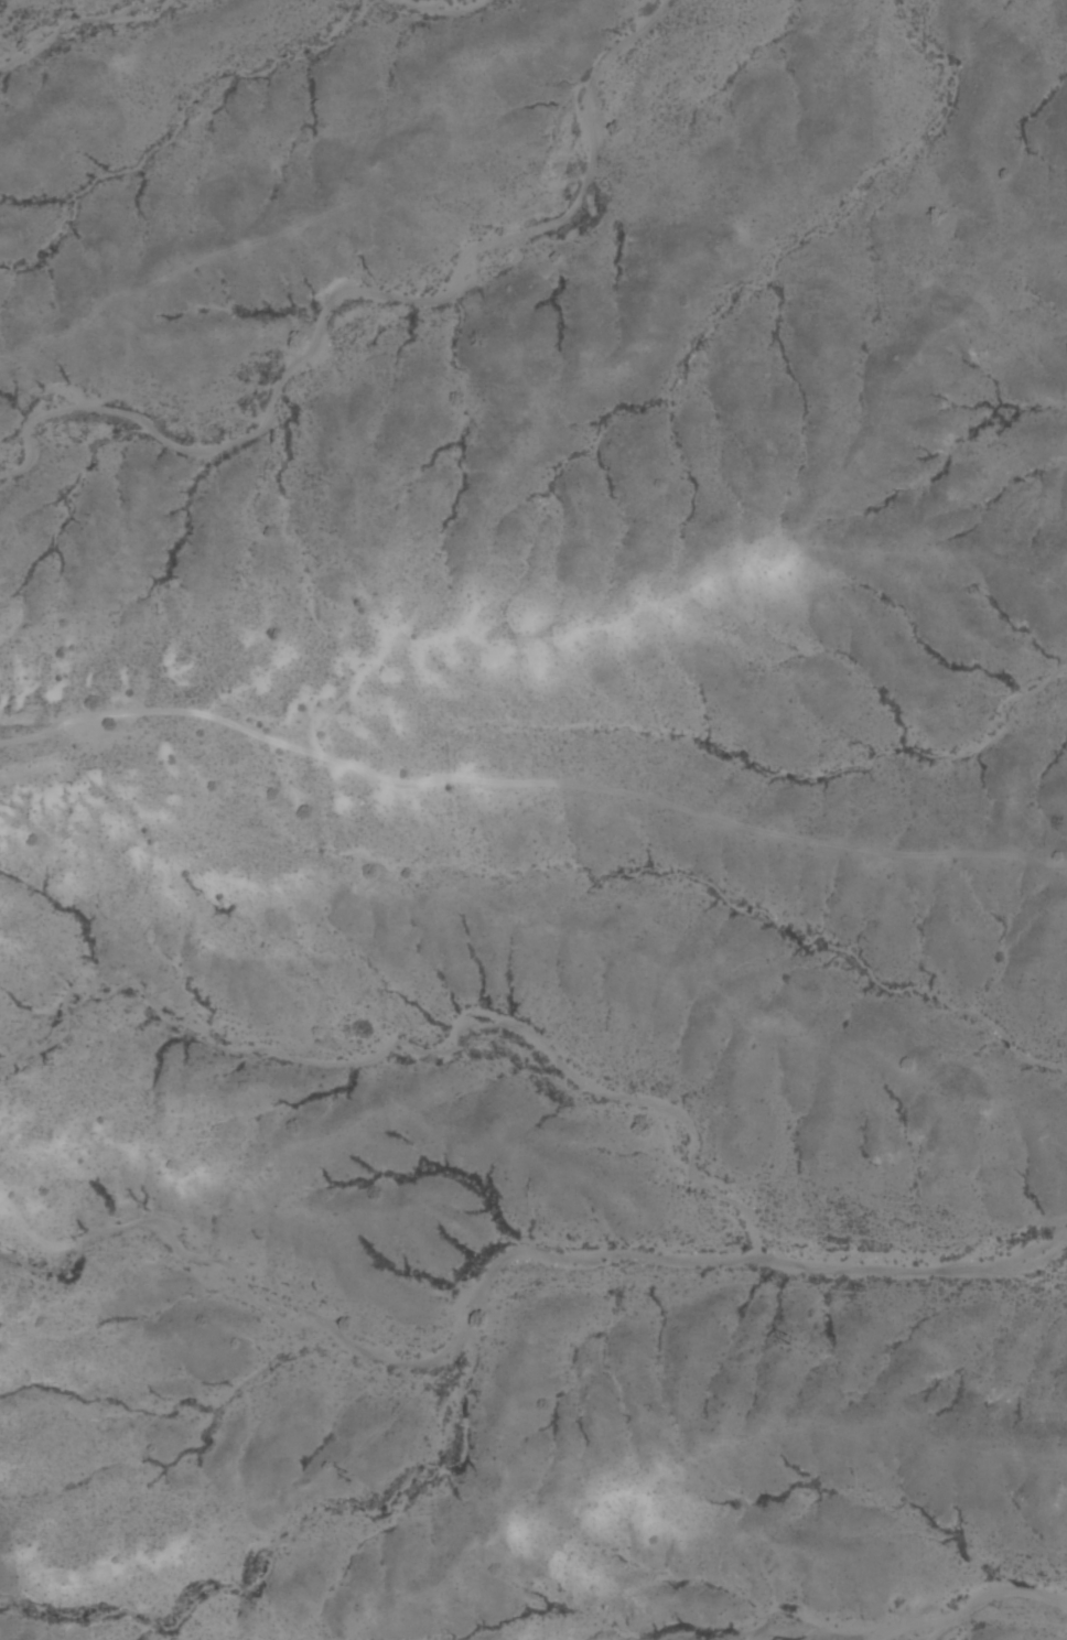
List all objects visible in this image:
power tower: (790, 1337)
power tower: (348, 1476)

